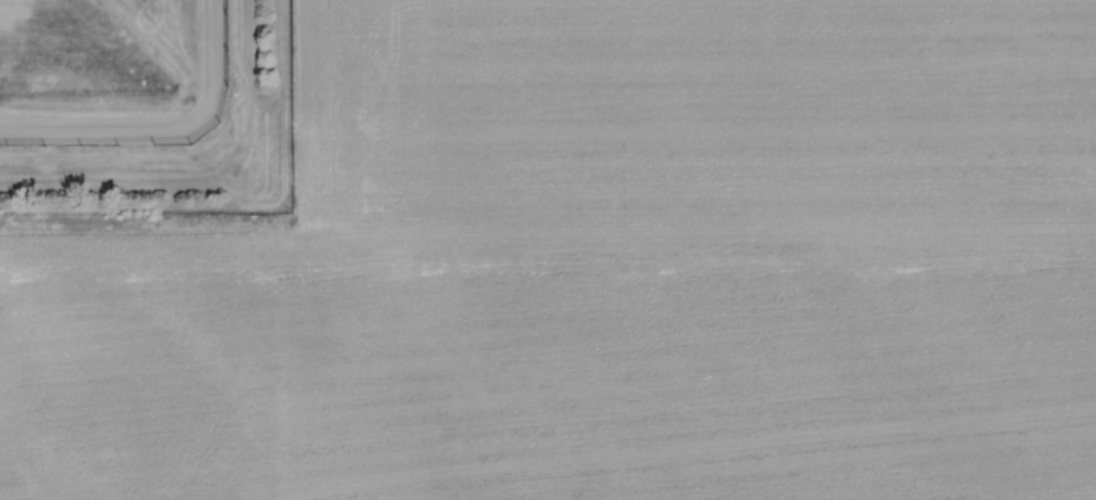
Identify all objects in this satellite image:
road: (184, 156)
crop: (607, 269)

